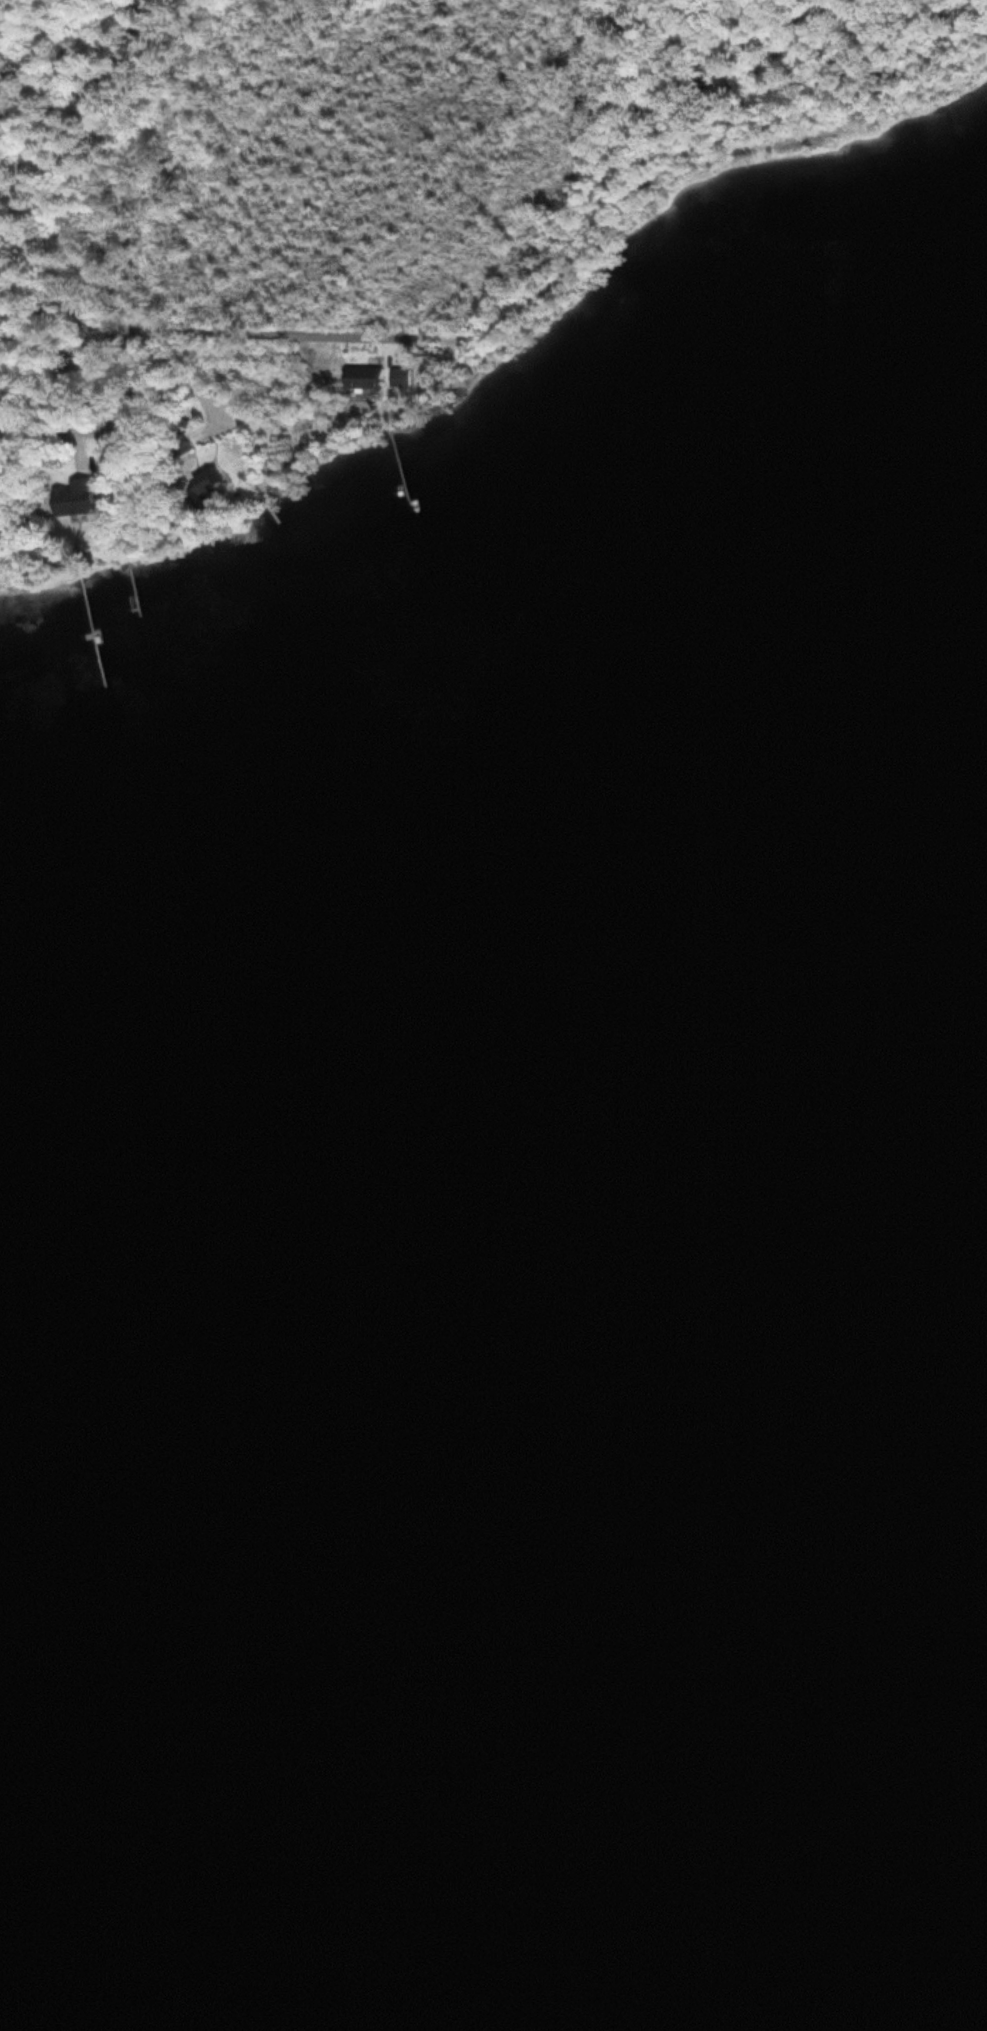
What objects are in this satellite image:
road: (214, 332)
building: (397, 376)
building: (362, 377)
road: (72, 409)
building: (204, 484)
building: (72, 498)

